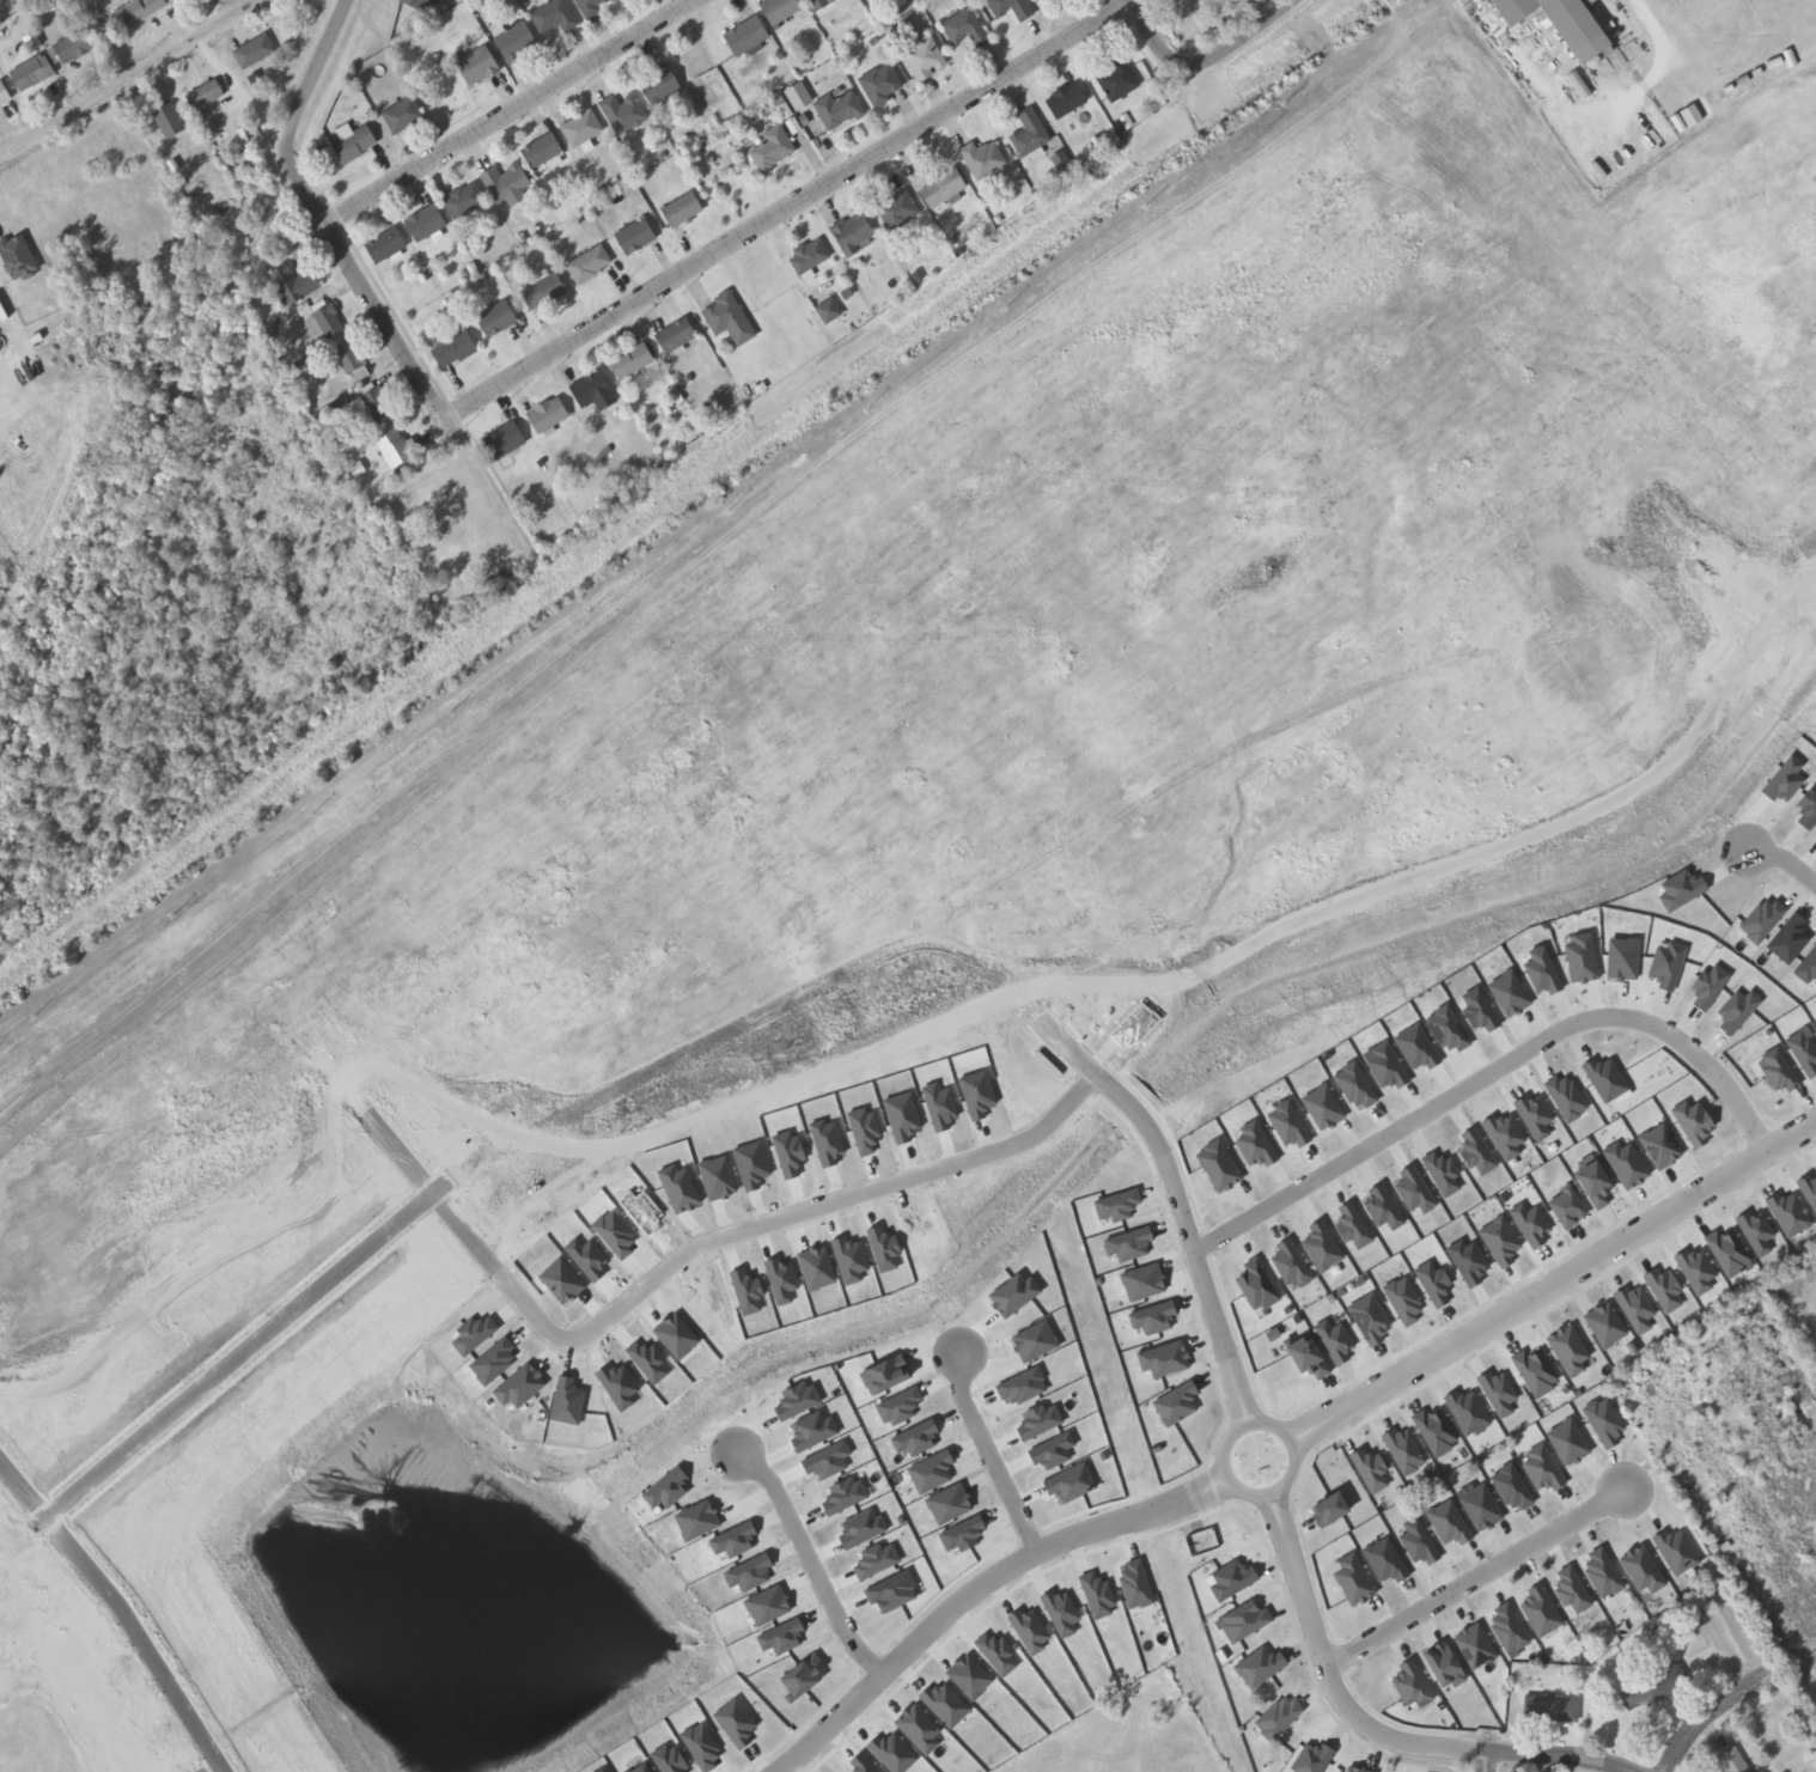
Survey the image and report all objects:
building: (818, 4)
building: (419, 5)
building: (589, 6)
building: (779, 10)
building: (135, 12)
building: (1023, 12)
building: (554, 16)
building: (1561, 24)
building: (963, 26)
building: (745, 36)
building: (514, 41)
building: (75, 43)
building: (254, 51)
building: (922, 57)
building: (476, 65)
road: (1208, 67)
building: (31, 72)
road: (310, 75)
road: (123, 77)
building: (1117, 80)
building: (878, 84)
building: (660, 87)
building: (4, 93)
building: (205, 95)
building: (1065, 99)
building: (0, 105)
building: (837, 109)
road: (506, 111)
building: (622, 112)
building: (402, 114)
building: (169, 121)
building: (581, 129)
building: (1029, 134)
building: (352, 141)
building: (770, 148)
building: (542, 151)
building: (981, 158)
building: (506, 183)
building: (943, 187)
building: (464, 201)
building: (682, 209)
road: (784, 209)
building: (896, 209)
building: (425, 223)
building: (852, 233)
building: (634, 236)
building: (384, 245)
building: (808, 257)
building: (587, 263)
building: (293, 282)
building: (541, 288)
building: (846, 293)
road: (366, 294)
building: (828, 311)
building: (727, 317)
building: (324, 318)
building: (495, 318)
building: (675, 336)
building: (453, 349)
building: (351, 359)
building: (630, 361)
building: (590, 388)
building: (376, 400)
building: (547, 415)
building: (504, 439)
building: (394, 446)
railway: (141, 462)
railway: (681, 506)
road: (1786, 860)
road: (1493, 1079)
road: (732, 1232)
road: (1192, 1237)
road: (1555, 1280)
road: (236, 1354)
road: (987, 1451)
road: (1292, 1479)
road: (811, 1563)
road: (1477, 1576)
road: (976, 1584)
road: (121, 1610)
road: (1331, 1675)
building: (1652, 1688)
building: (1553, 1710)
road: (1708, 1713)
road: (1561, 1758)
road: (1489, 1760)
building: (1729, 1761)

